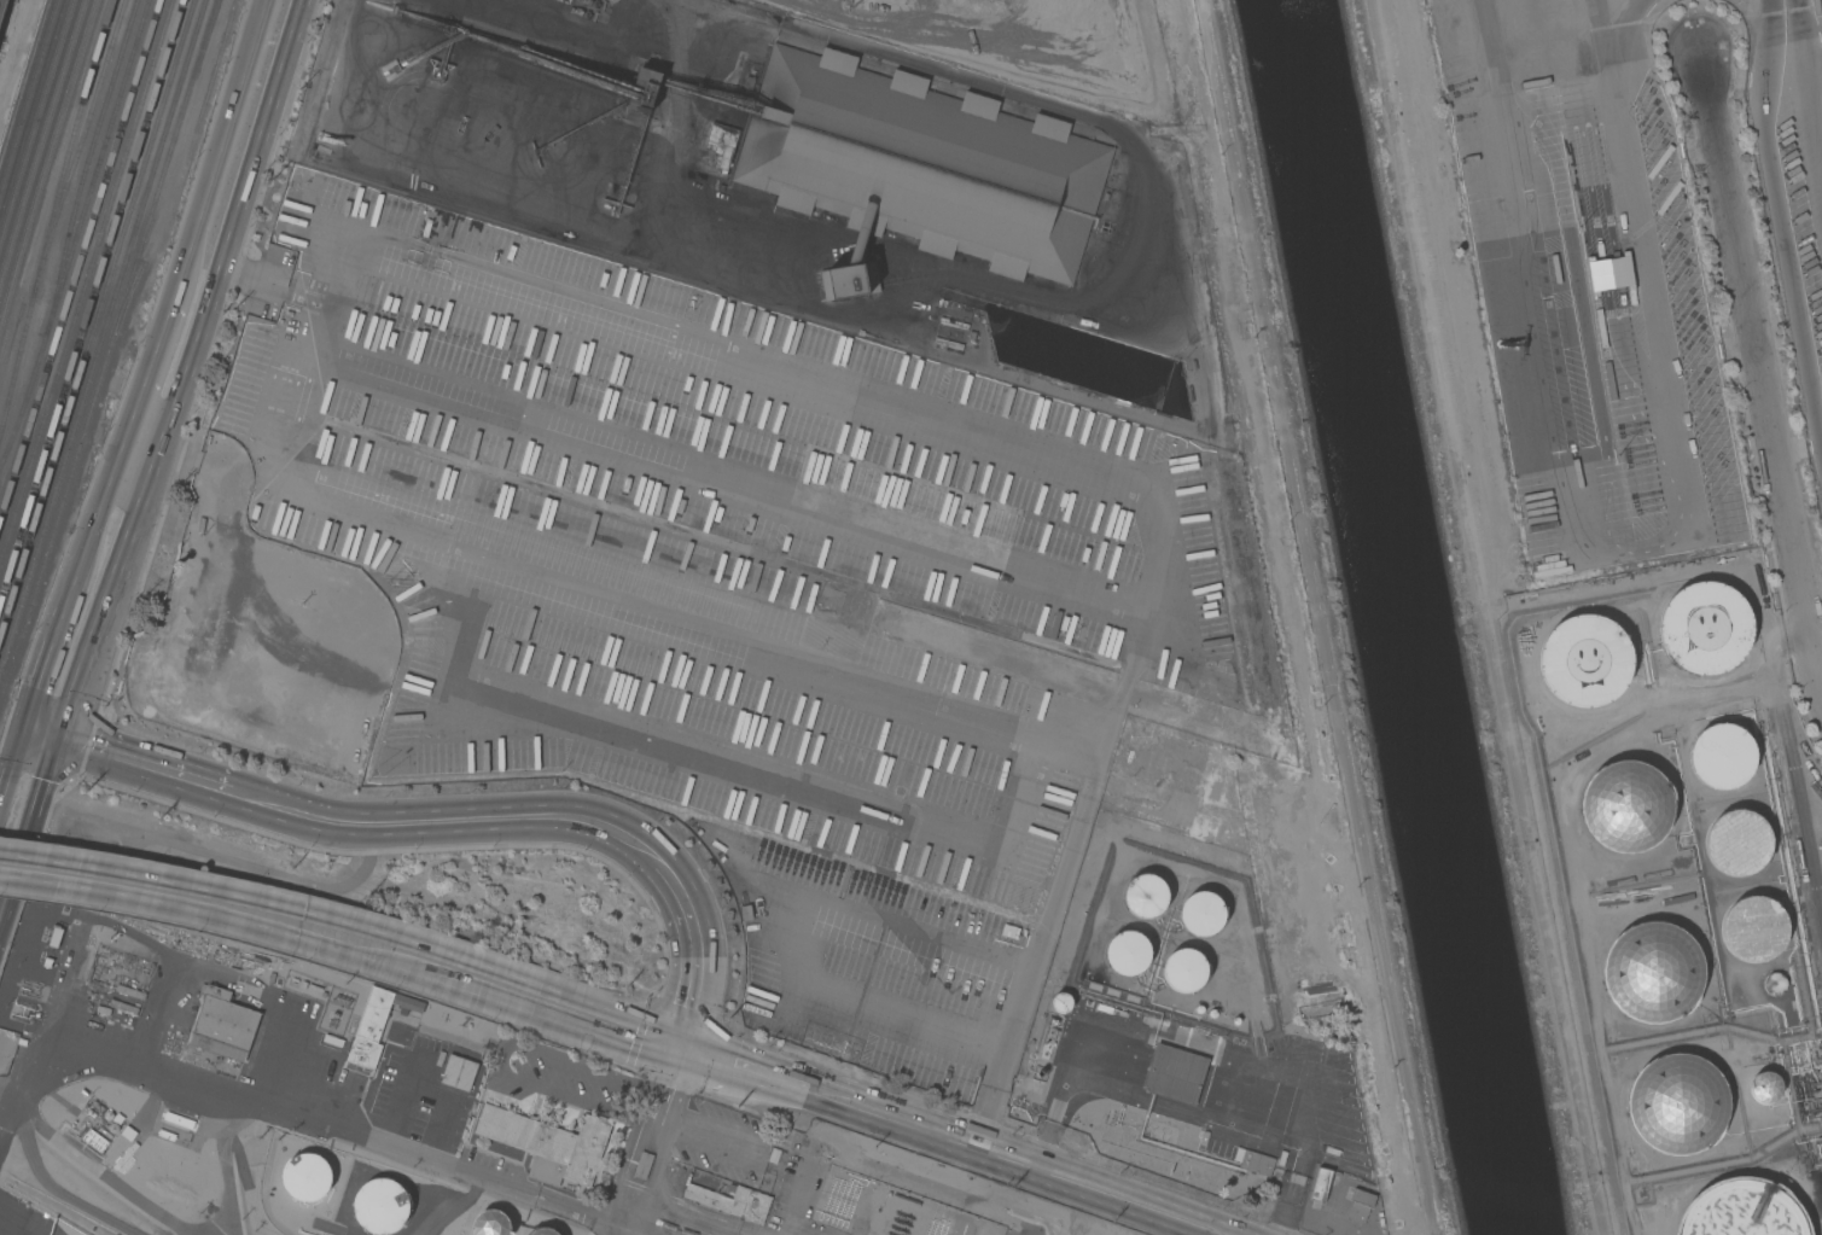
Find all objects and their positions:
road: (309, 5)
building: (1, 7)
road: (1622, 43)
road: (16, 51)
road: (1810, 89)
railway: (28, 101)
railway: (78, 118)
railway: (36, 123)
road: (1105, 123)
road: (221, 132)
road: (266, 136)
building: (722, 144)
railway: (42, 145)
railway: (92, 148)
railway: (47, 165)
building: (919, 167)
building: (1548, 177)
railway: (56, 217)
road: (1781, 217)
railway: (77, 235)
railway: (80, 262)
road: (1634, 264)
road: (1539, 279)
railway: (87, 282)
road: (281, 284)
railway: (91, 303)
railway: (97, 321)
railway: (103, 338)
railway: (109, 355)
road: (193, 355)
road: (1756, 369)
road: (932, 408)
road: (124, 430)
road: (144, 439)
road: (155, 472)
building: (1716, 474)
road: (675, 611)
road: (1764, 613)
road: (1489, 617)
road: (104, 619)
building: (1704, 625)
building: (1585, 659)
road: (47, 663)
road: (43, 734)
building: (1722, 758)
road: (12, 765)
road: (162, 771)
building: (1624, 810)
road: (467, 817)
road: (31, 832)
building: (1737, 843)
building: (1145, 896)
road: (291, 909)
building: (1201, 913)
building: (1754, 928)
road: (286, 934)
building: (1127, 951)
road: (697, 953)
building: (31, 956)
building: (1183, 969)
building: (1652, 973)
building: (1774, 984)
building: (129, 992)
building: (22, 997)
building: (1060, 1002)
building: (121, 1013)
road: (628, 1016)
building: (222, 1025)
building: (376, 1025)
building: (1048, 1042)
road: (619, 1045)
traffic signals: (676, 1049)
road: (502, 1055)
road: (745, 1071)
building: (459, 1073)
building: (1175, 1074)
building: (1035, 1085)
building: (1764, 1087)
building: (1673, 1102)
road: (301, 1111)
building: (179, 1120)
building: (548, 1143)
road: (659, 1143)
building: (1256, 1161)
road: (1012, 1164)
building: (642, 1165)
building: (307, 1177)
building: (1321, 1183)
building: (732, 1201)
building: (378, 1205)
building: (1360, 1205)
wastewater plant: (1360, 1205)
building: (1742, 1210)
building: (490, 1224)
building: (545, 1231)

